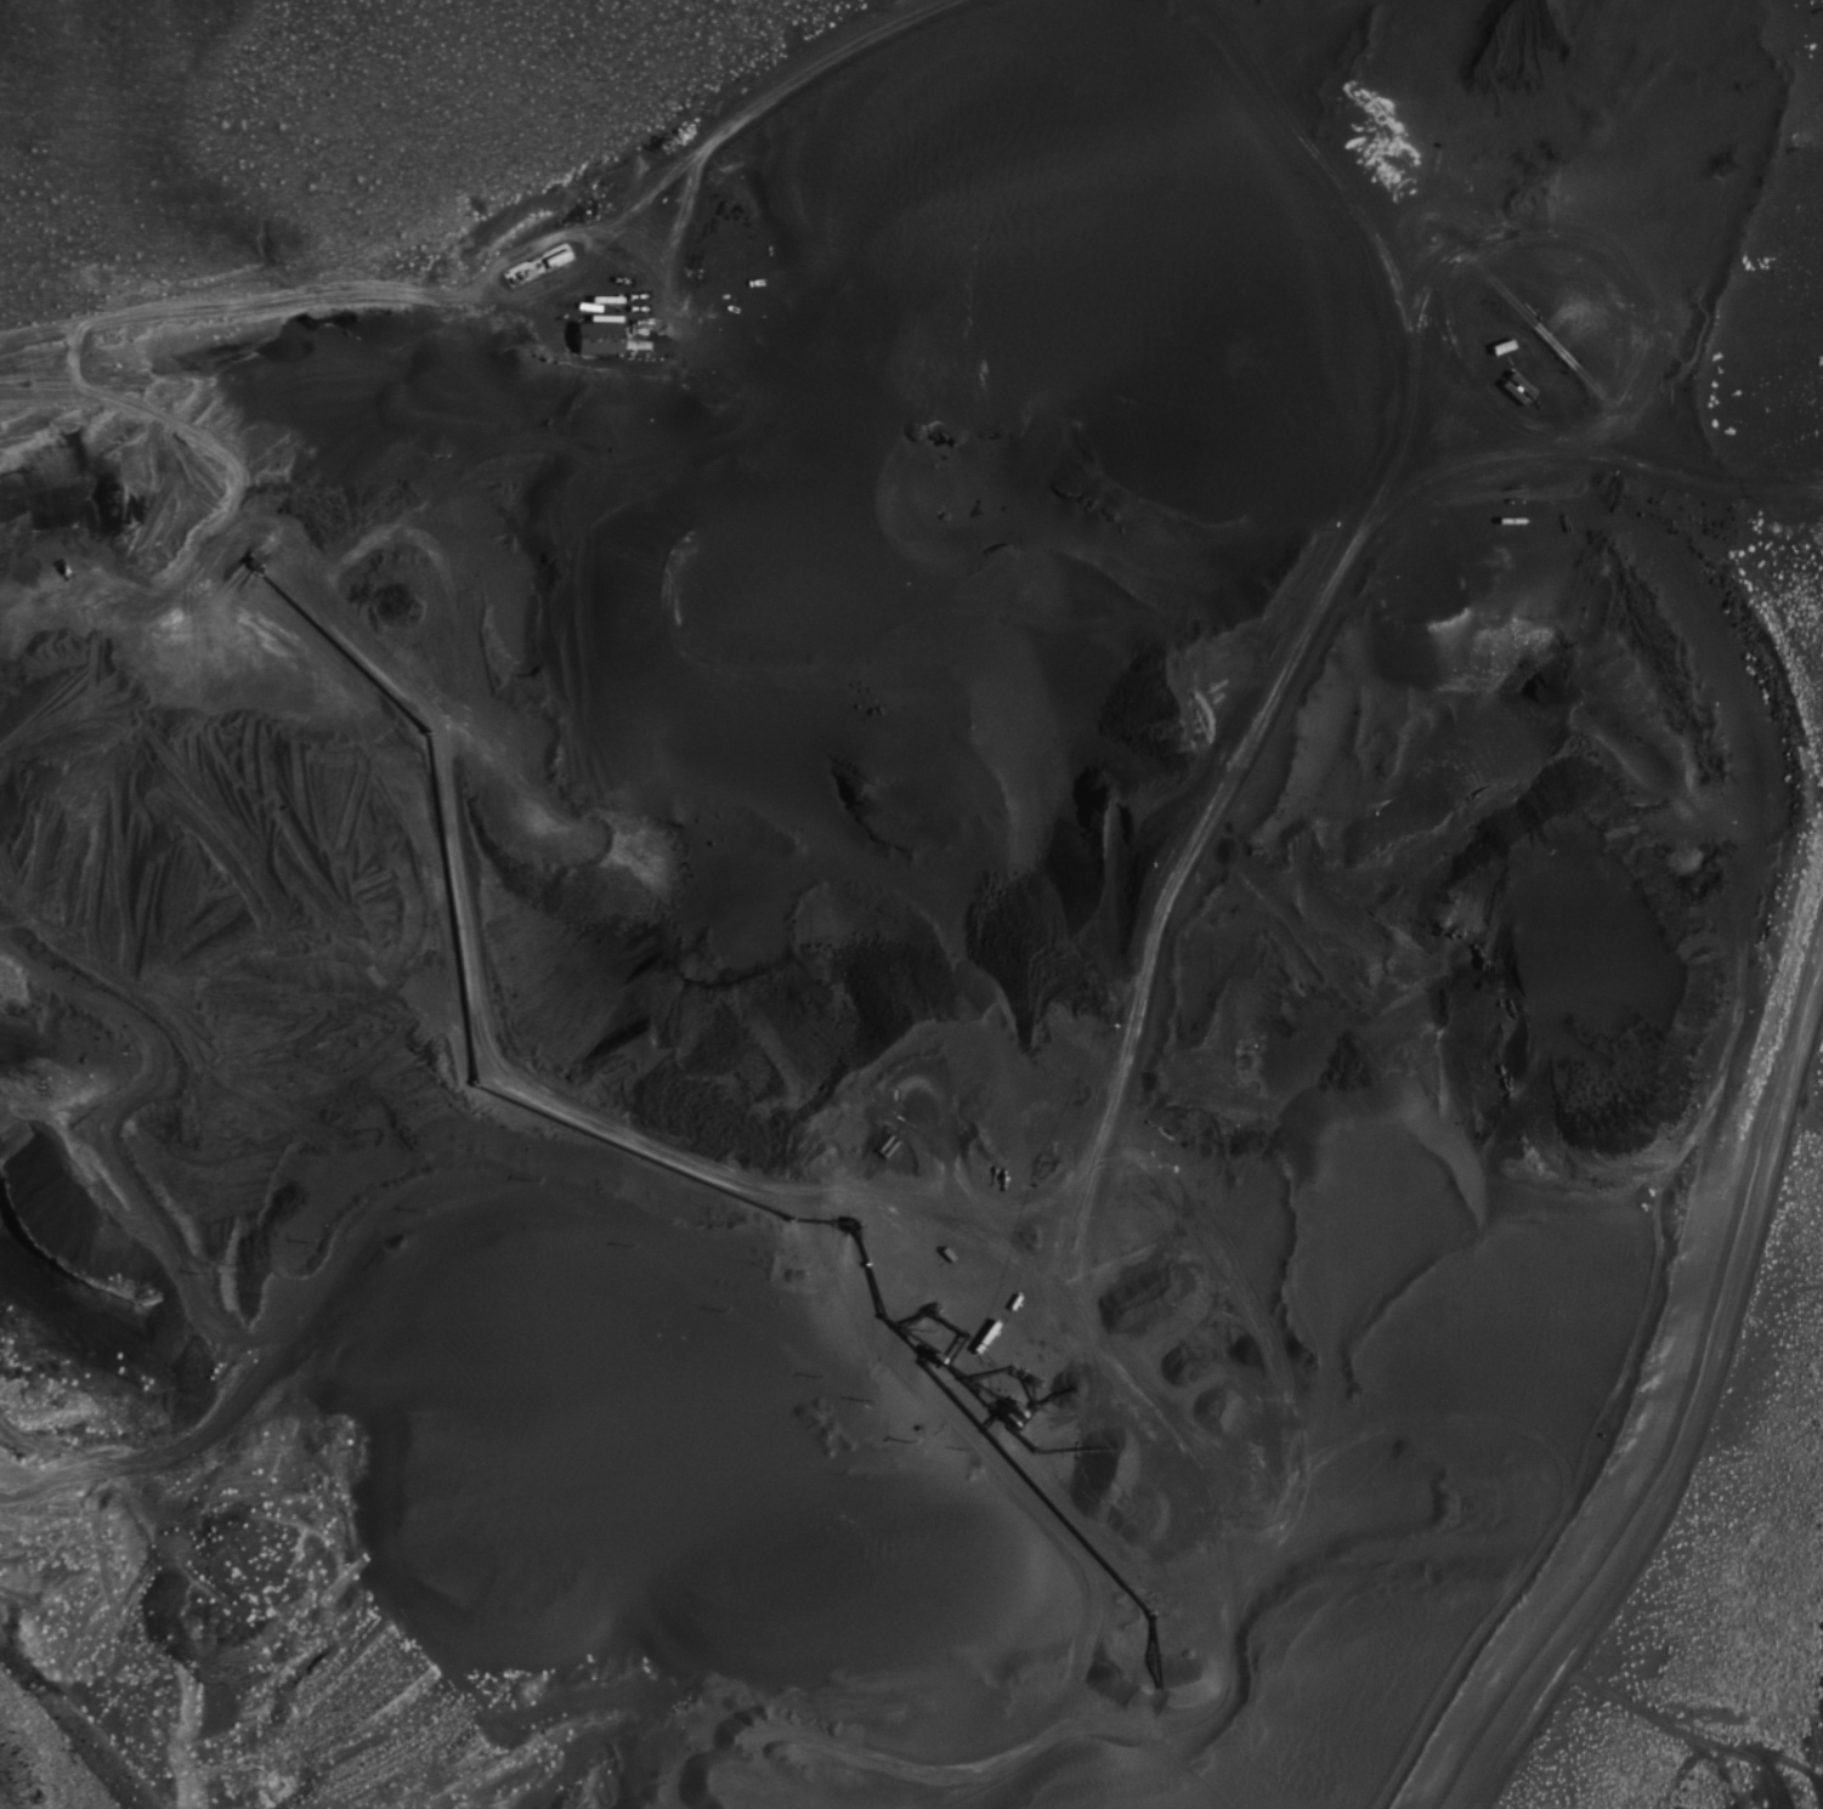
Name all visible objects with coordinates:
building: (600, 334)
building: (1648, 545)
road: (1289, 658)
road: (1692, 1400)

